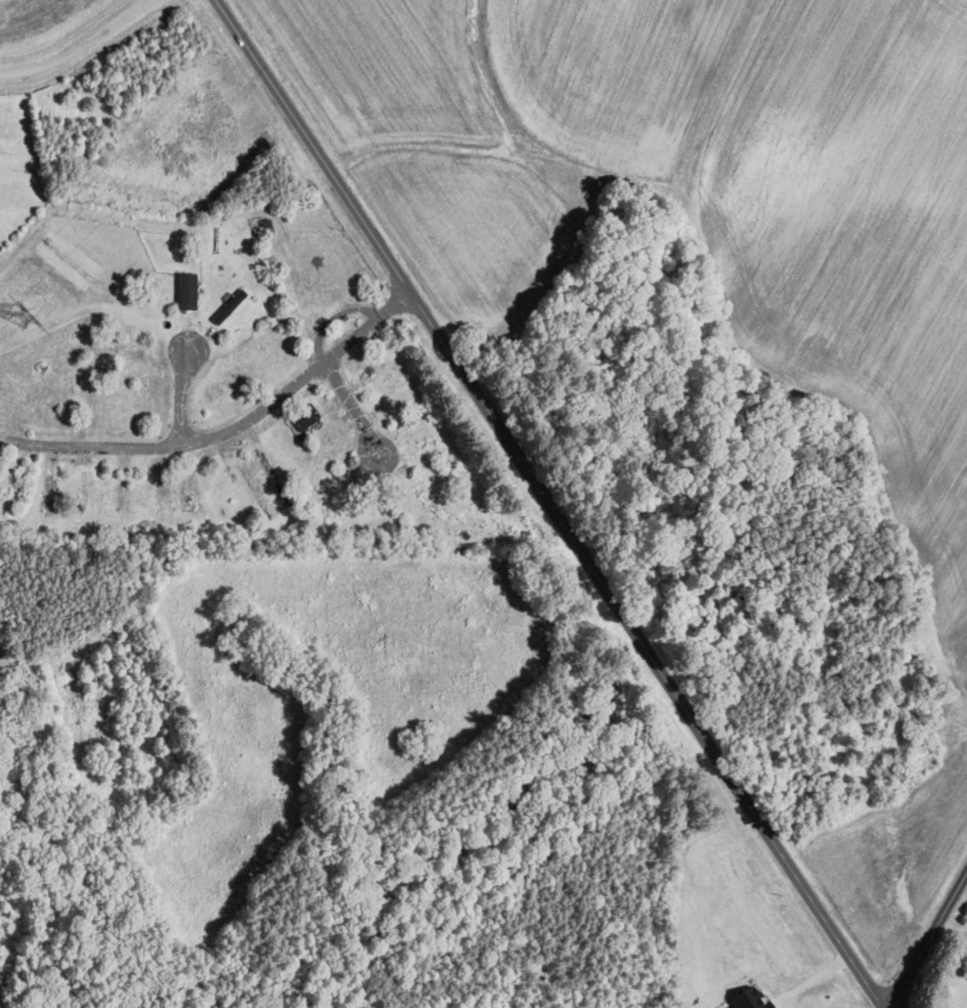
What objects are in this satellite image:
road: (75, 44)
building: (186, 290)
building: (229, 305)
power tower: (22, 315)
road: (180, 394)
road: (355, 407)
building: (303, 415)
road: (227, 431)
road: (553, 503)
building: (892, 773)
road: (929, 941)
road: (813, 977)
building: (750, 998)

